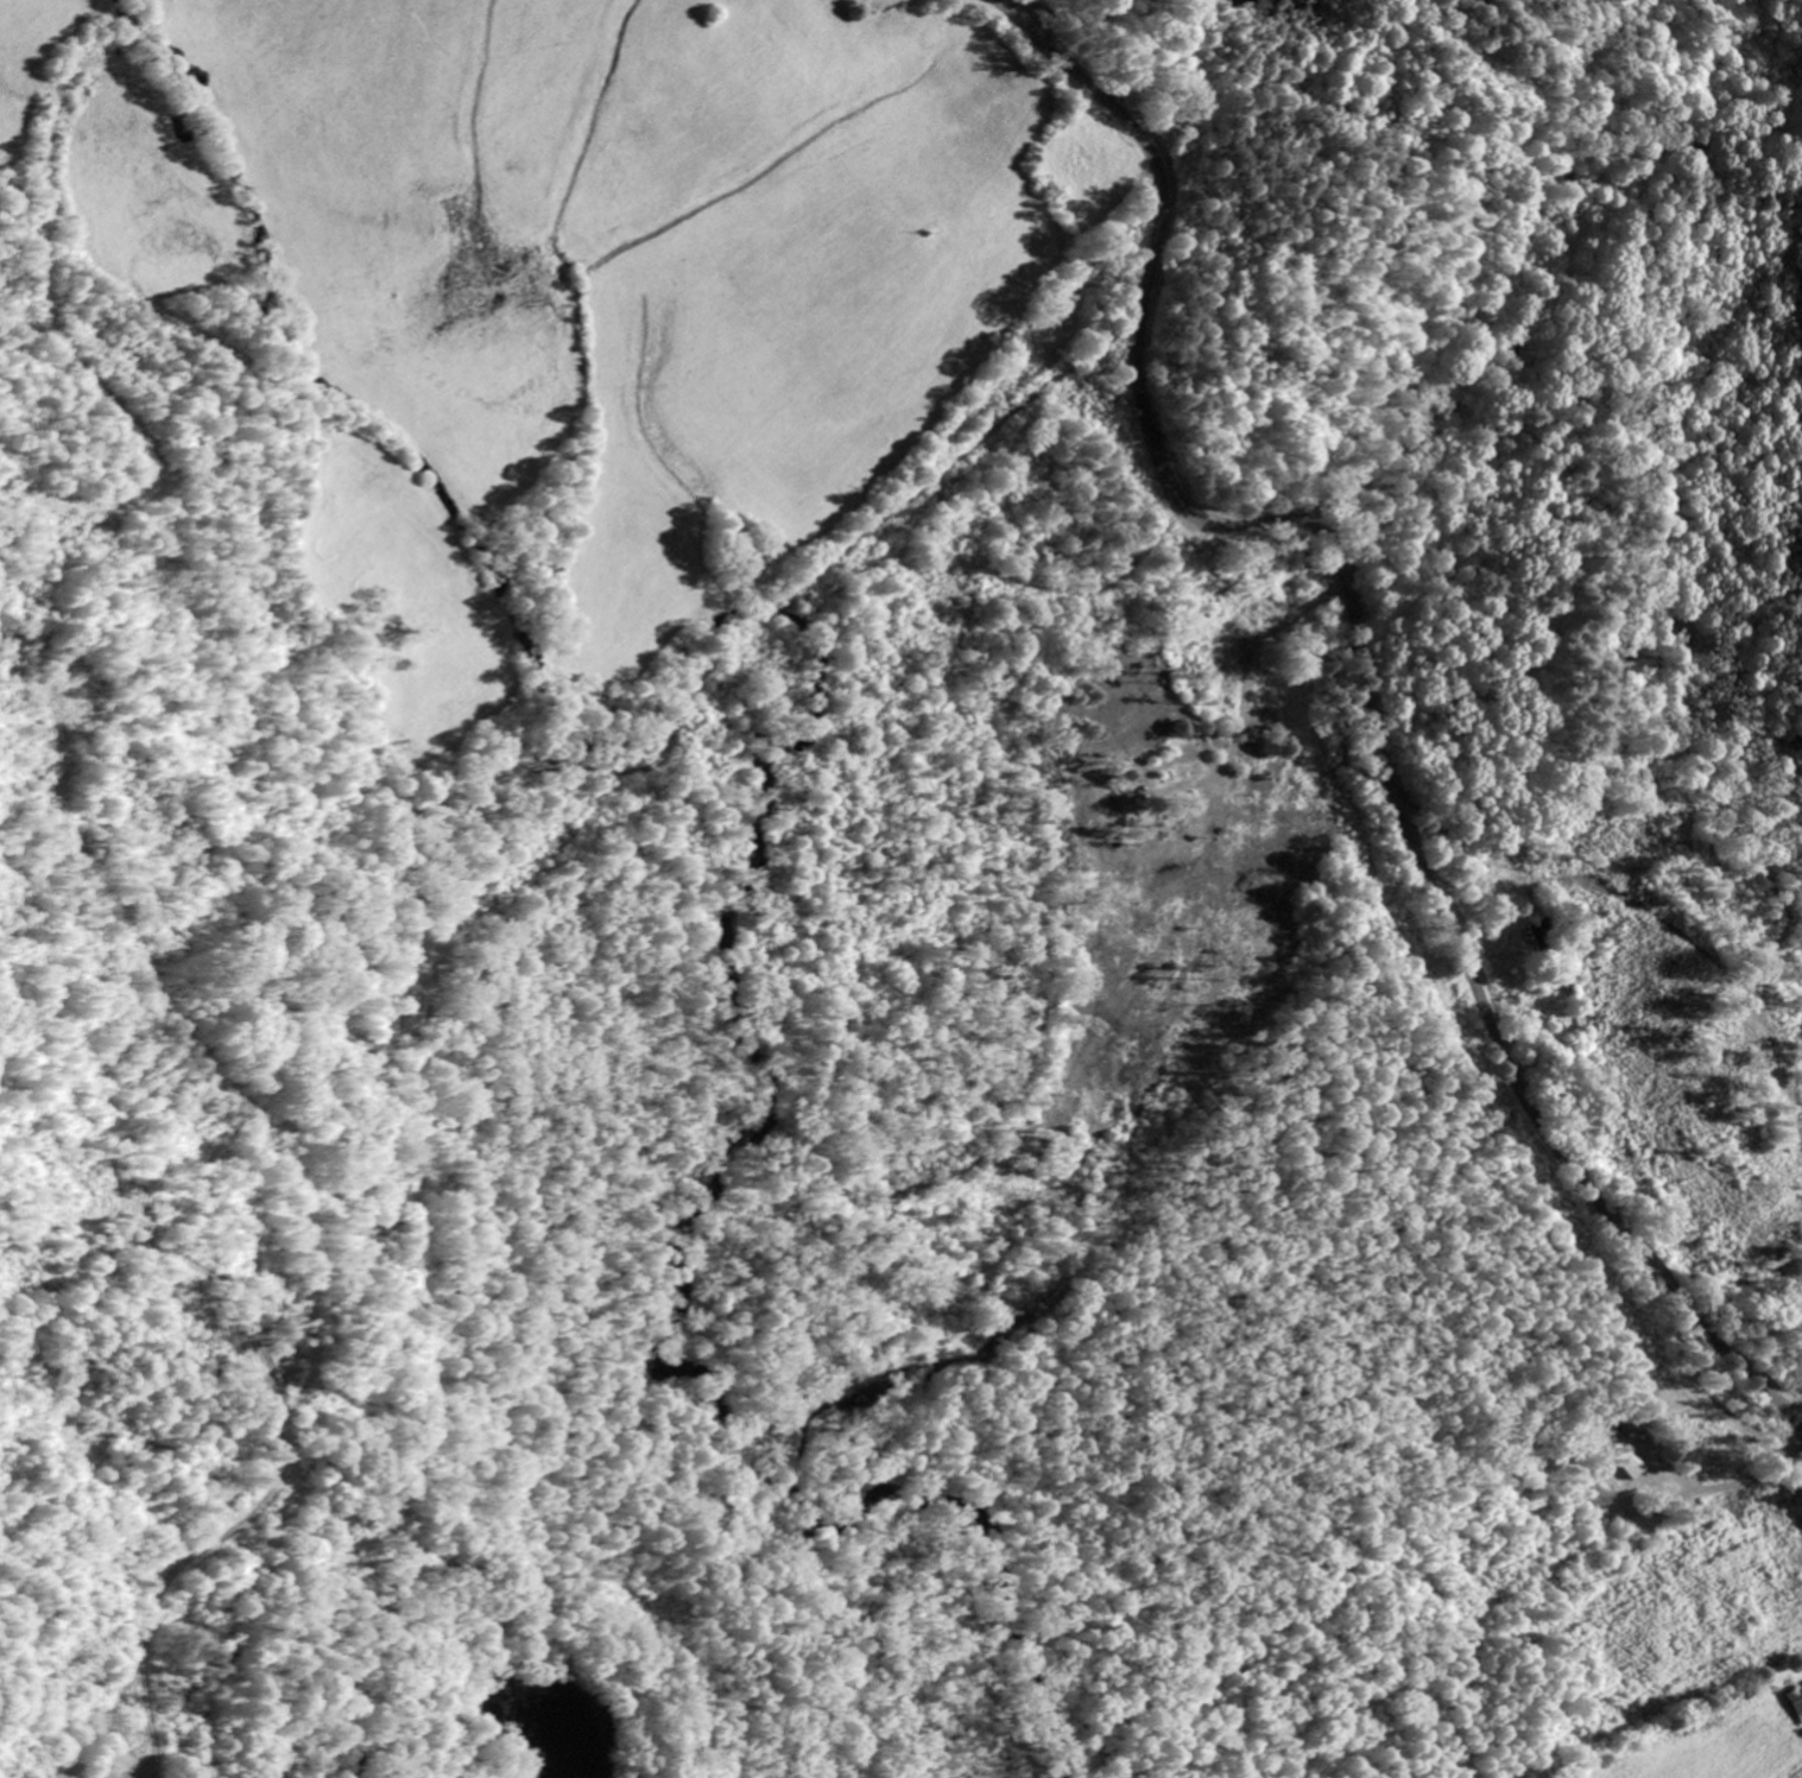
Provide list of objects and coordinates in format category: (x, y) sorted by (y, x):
road: (1360, 671)
building: (1635, 1464)
building: (1797, 1700)

